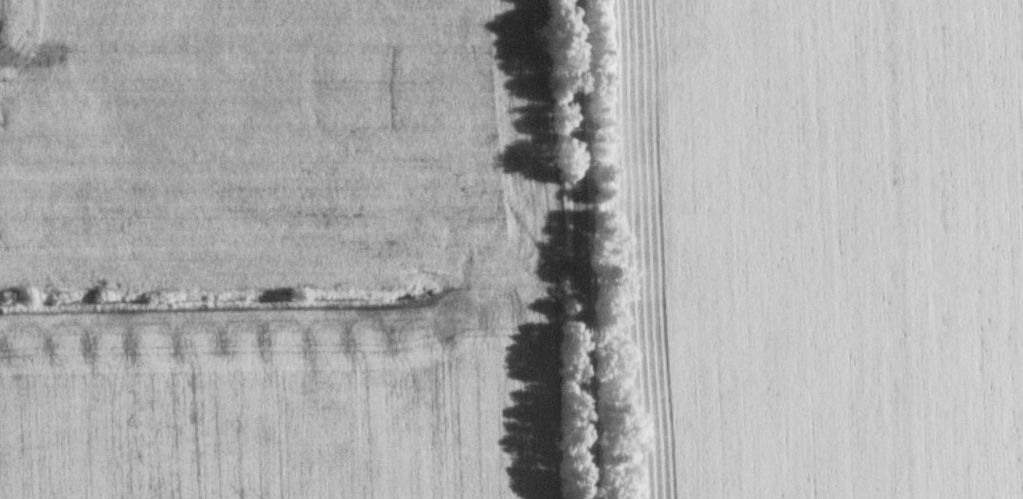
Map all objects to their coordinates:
road: (578, 249)

